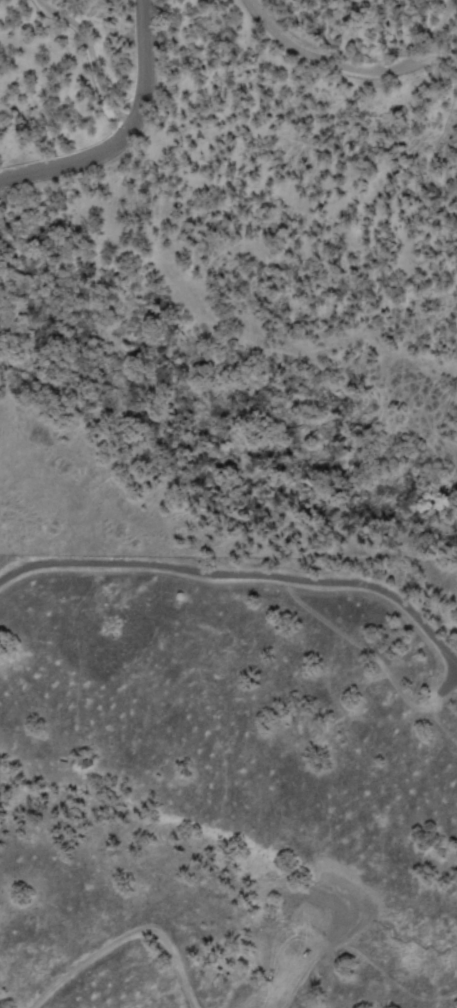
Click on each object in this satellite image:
road: (142, 49)
road: (355, 64)
road: (82, 154)

